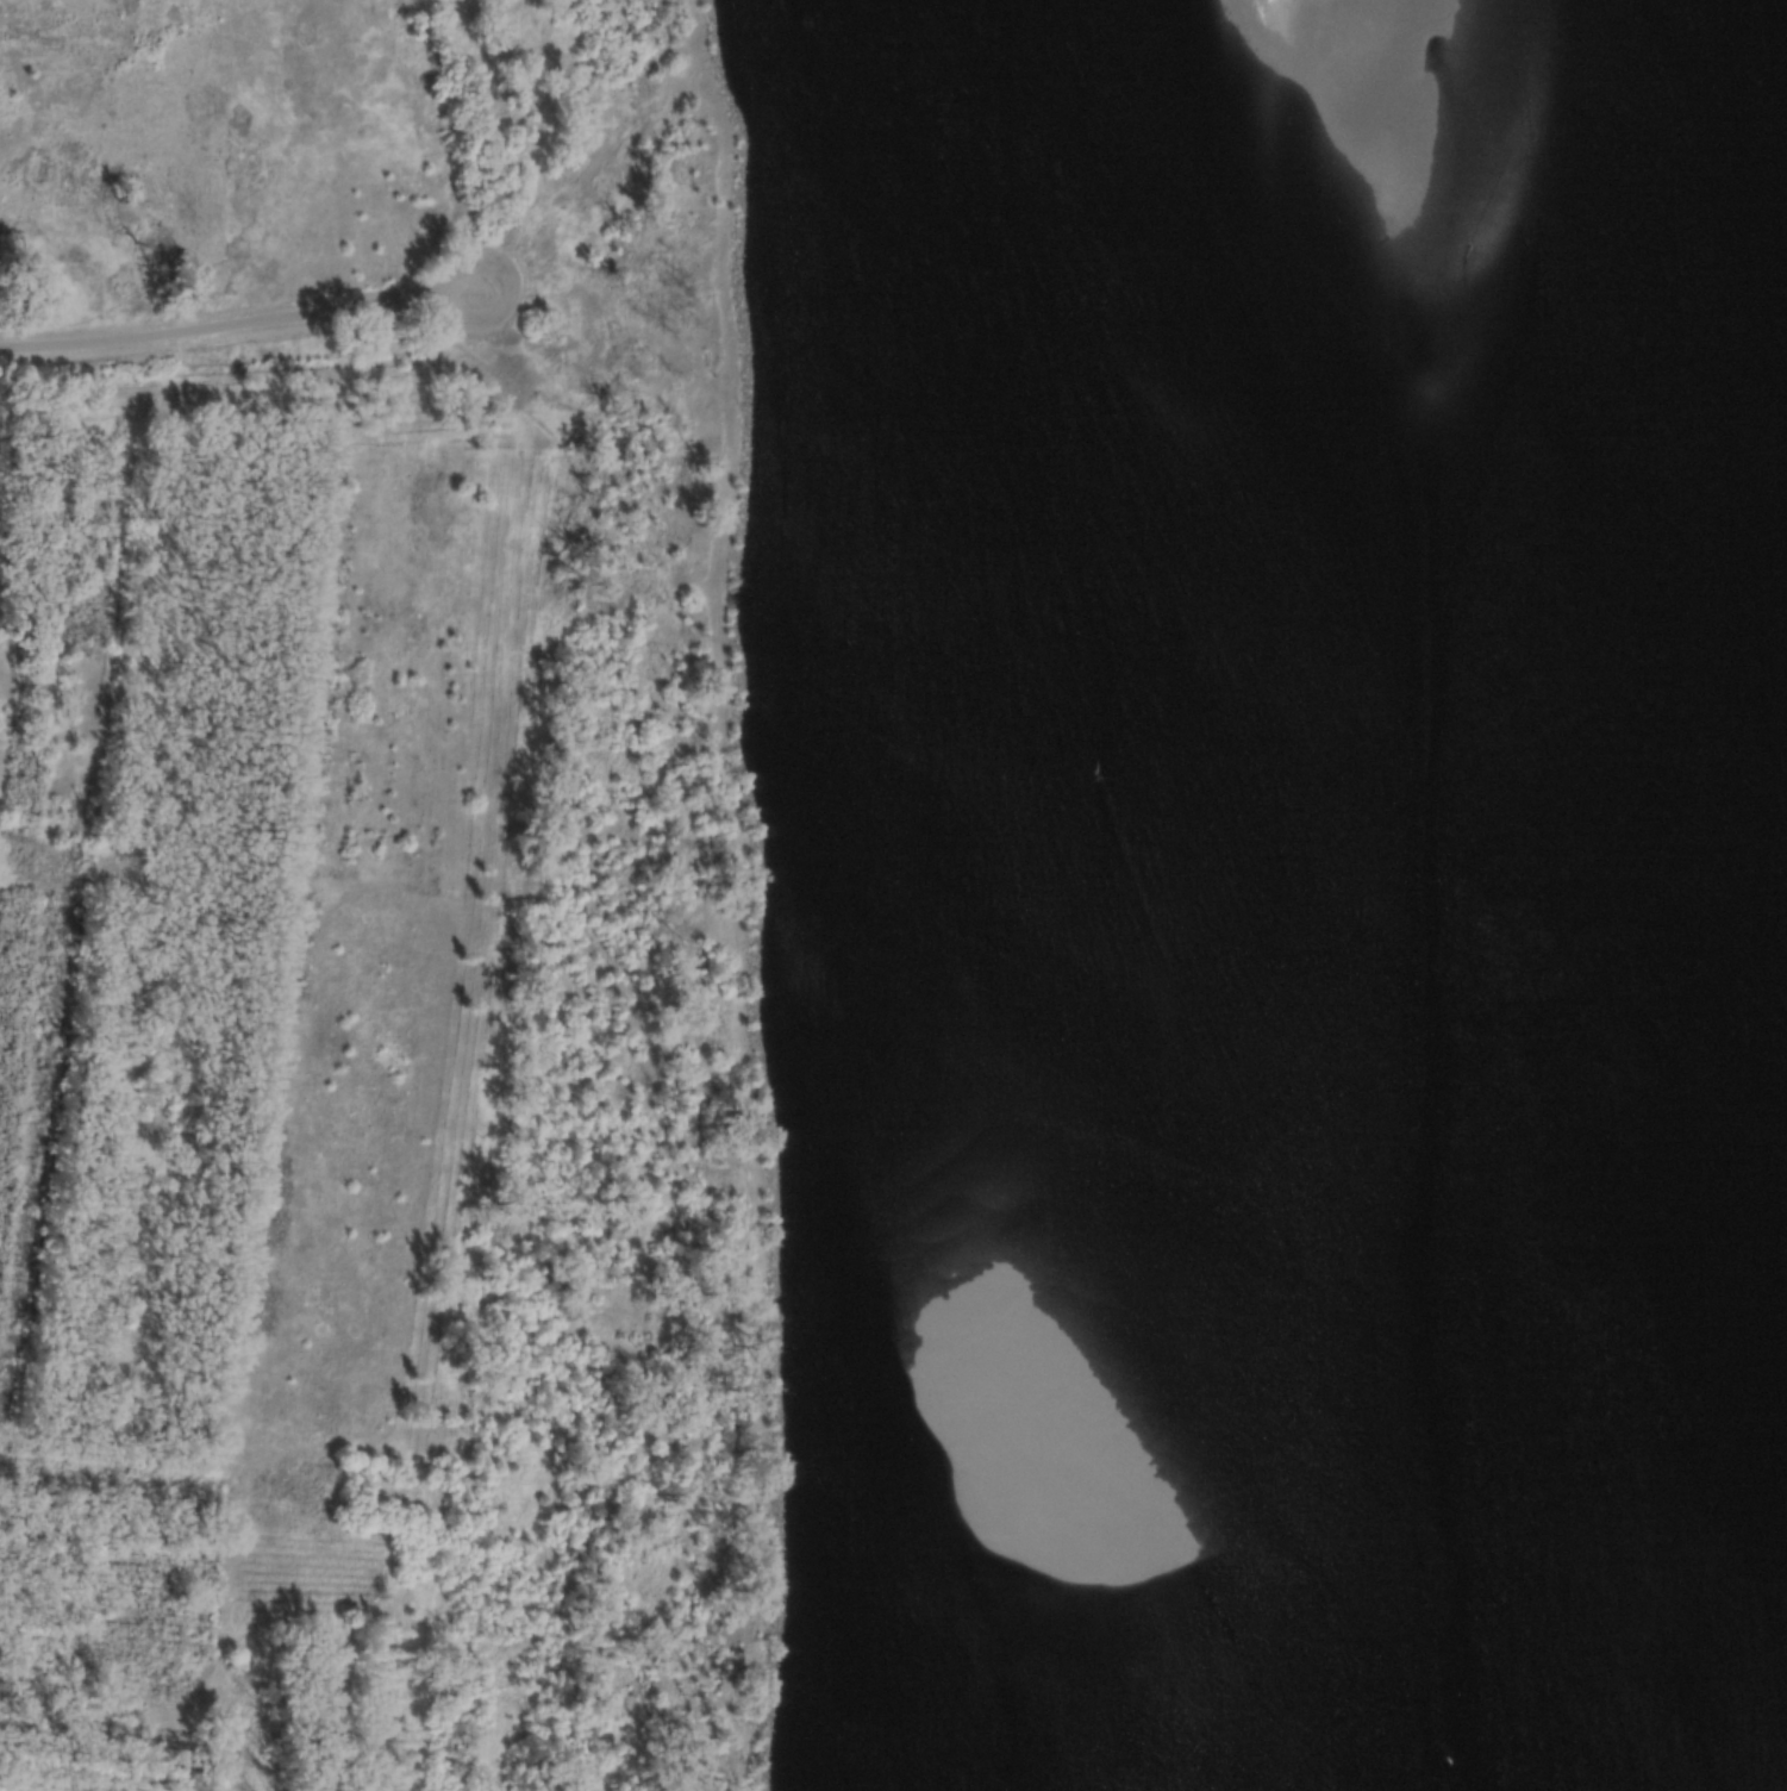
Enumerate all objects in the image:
road: (237, 329)
river: (1742, 361)

